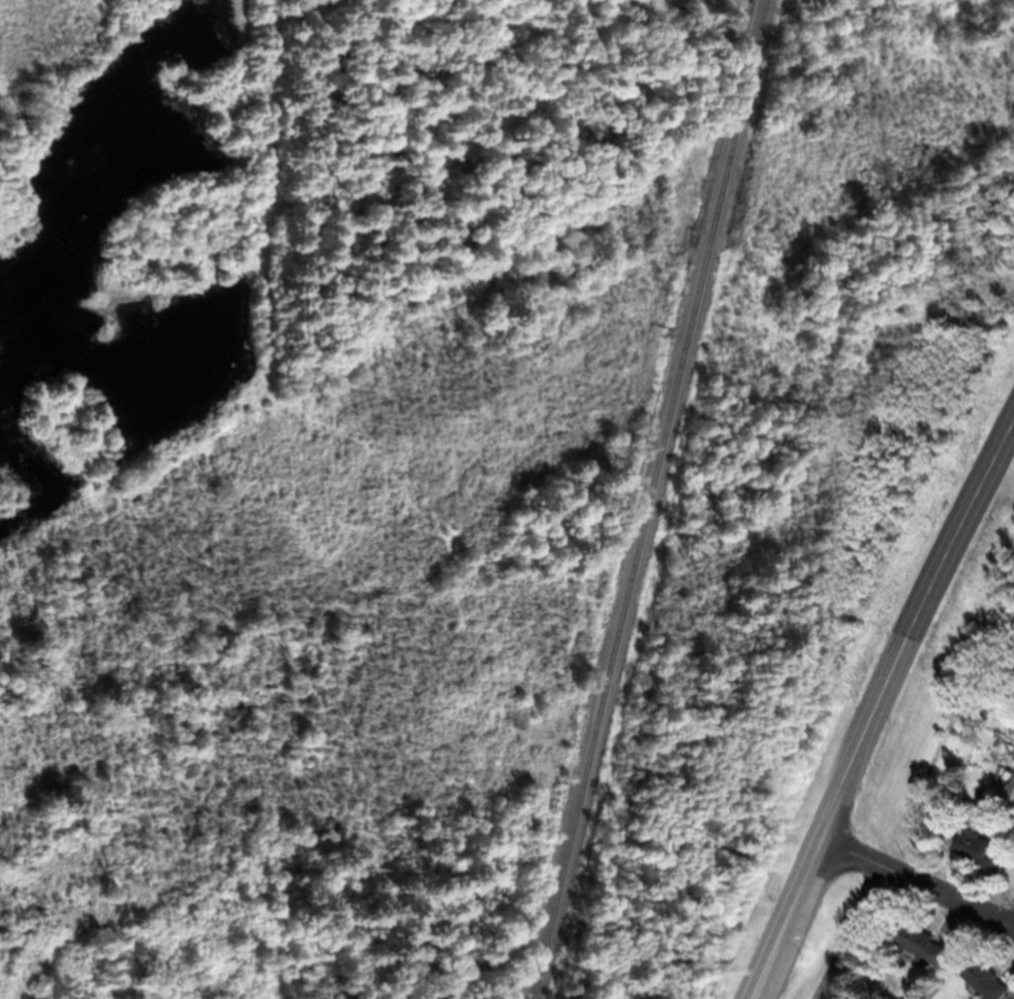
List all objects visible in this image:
railway: (648, 499)
road: (915, 633)
building: (1012, 729)
building: (1011, 746)
building: (1009, 795)
building: (992, 815)
building: (983, 850)
road: (917, 879)
road: (782, 918)
road: (787, 918)
road: (847, 930)
building: (923, 944)
building: (985, 976)
building: (906, 998)

